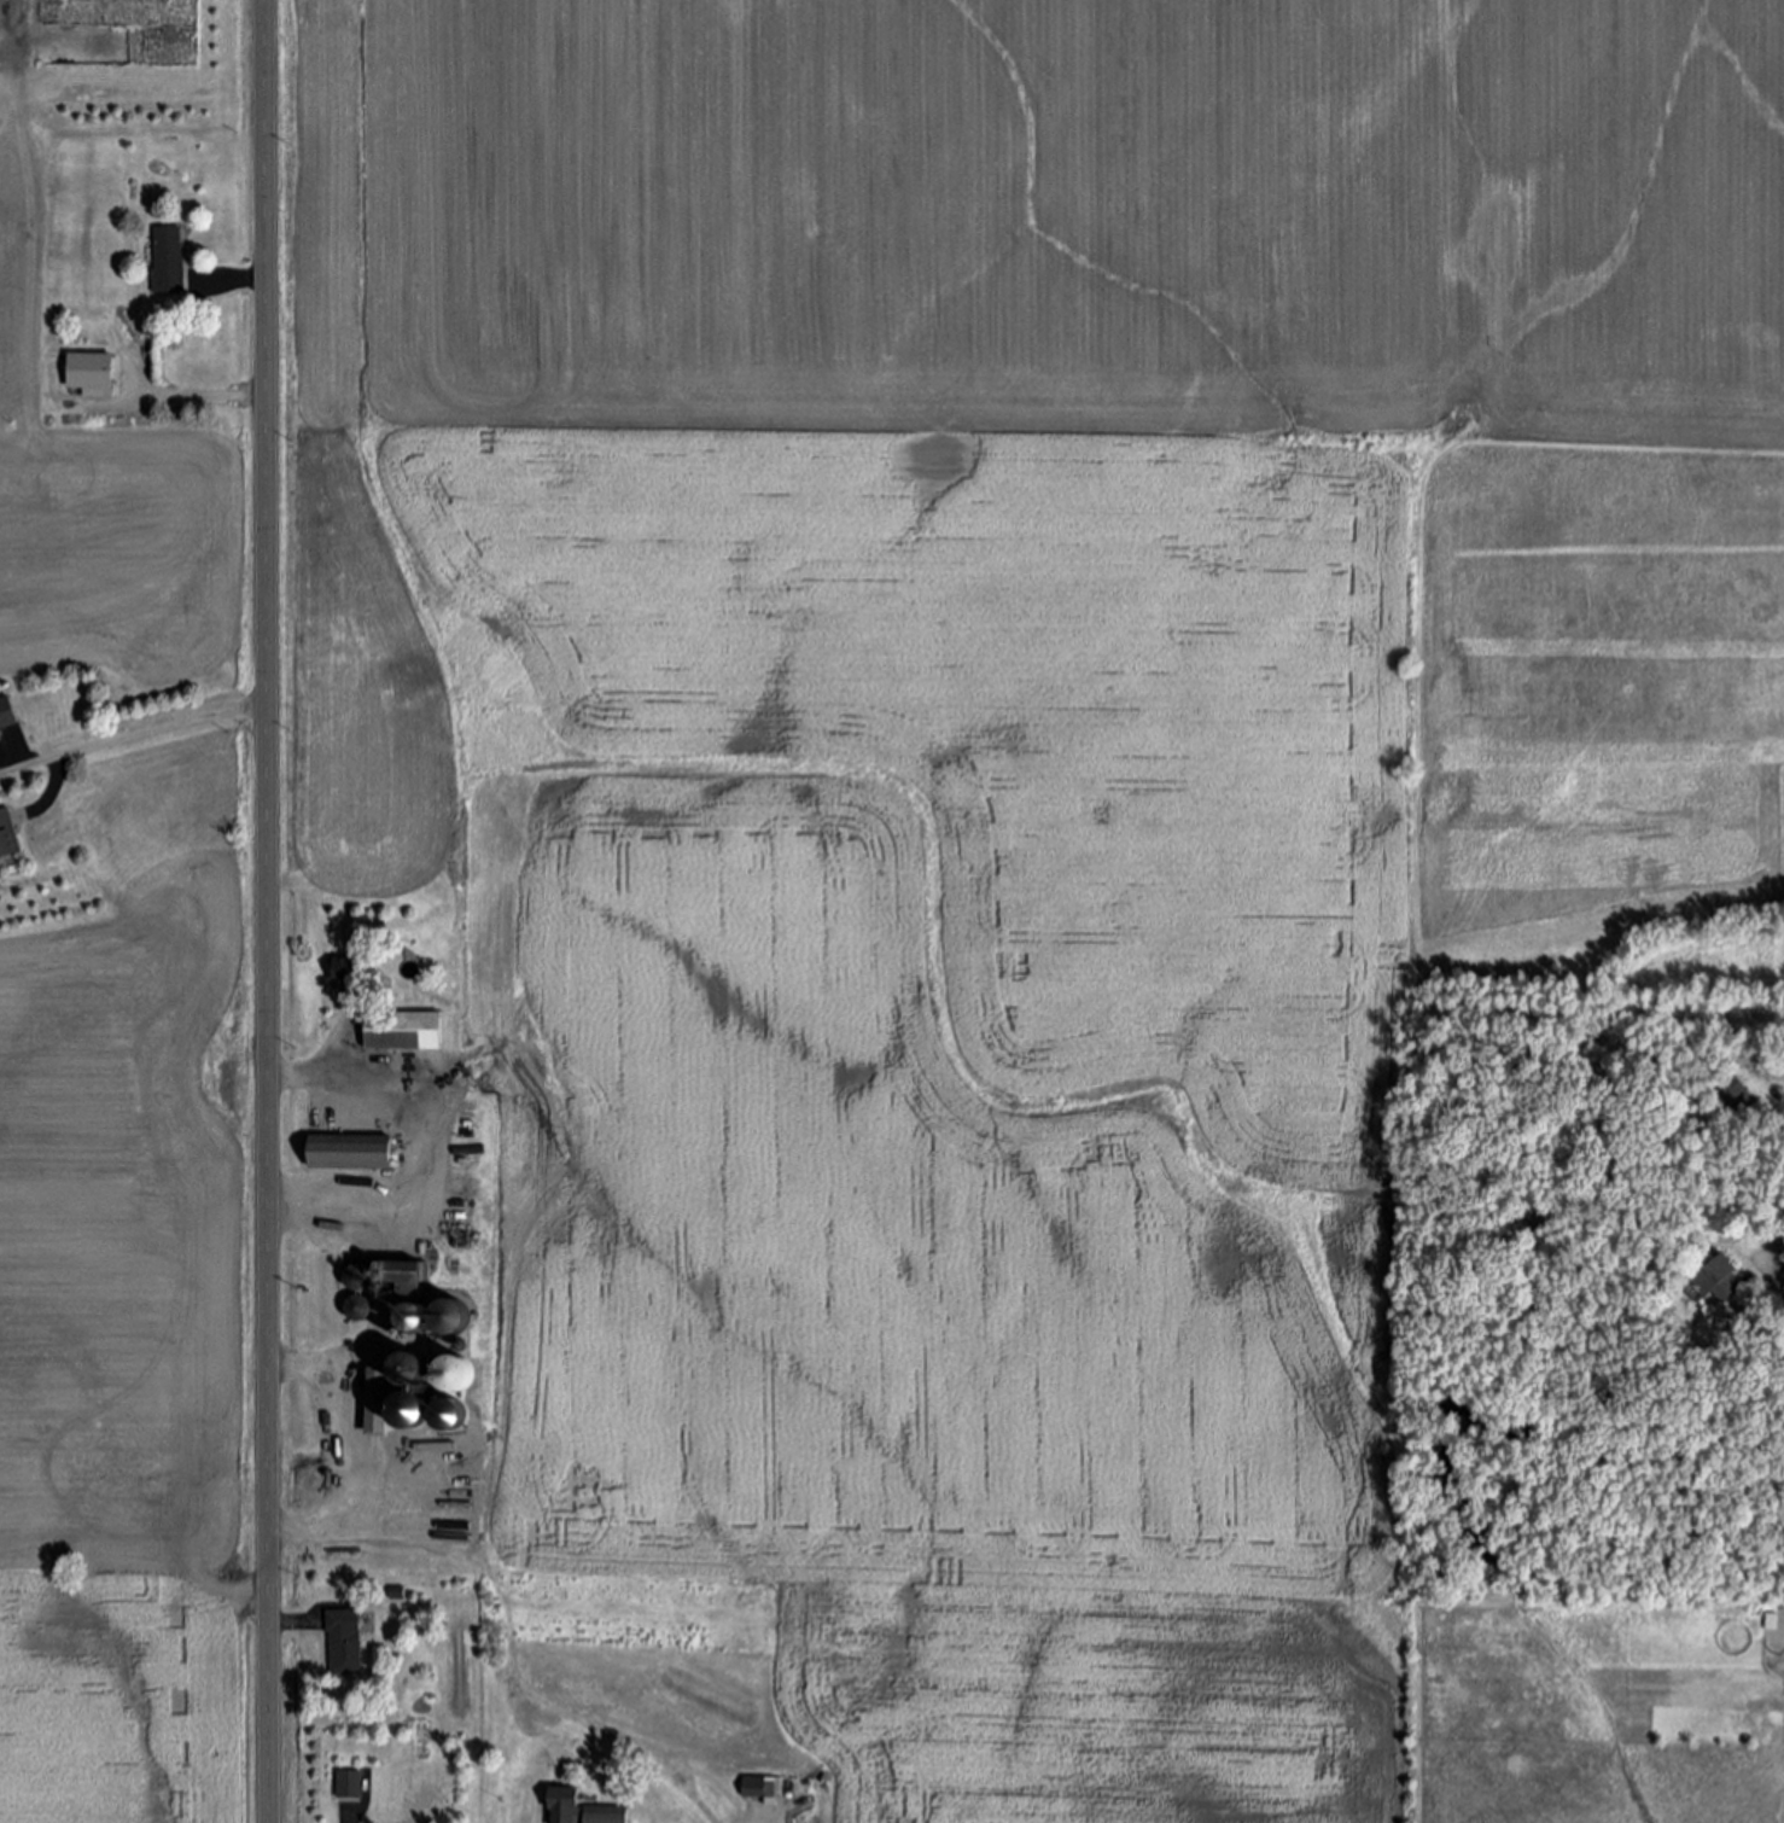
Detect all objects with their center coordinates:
building: (168, 260)
road: (235, 285)
building: (91, 375)
road: (200, 397)
crop: (109, 508)
building: (7, 715)
road: (132, 738)
building: (7, 837)
road: (266, 911)
building: (349, 975)
building: (404, 1032)
road: (339, 1081)
building: (352, 1154)
road: (334, 1204)
road: (1778, 1241)
building: (352, 1274)
building: (402, 1275)
building: (1718, 1275)
building: (357, 1306)
building: (450, 1312)
building: (407, 1315)
crop: (133, 1324)
road: (308, 1365)
building: (410, 1370)
building: (455, 1379)
road: (354, 1493)
building: (1772, 1621)
road: (292, 1623)
building: (345, 1643)
building: (346, 1787)
building: (762, 1788)
building: (566, 1806)
building: (608, 1816)

